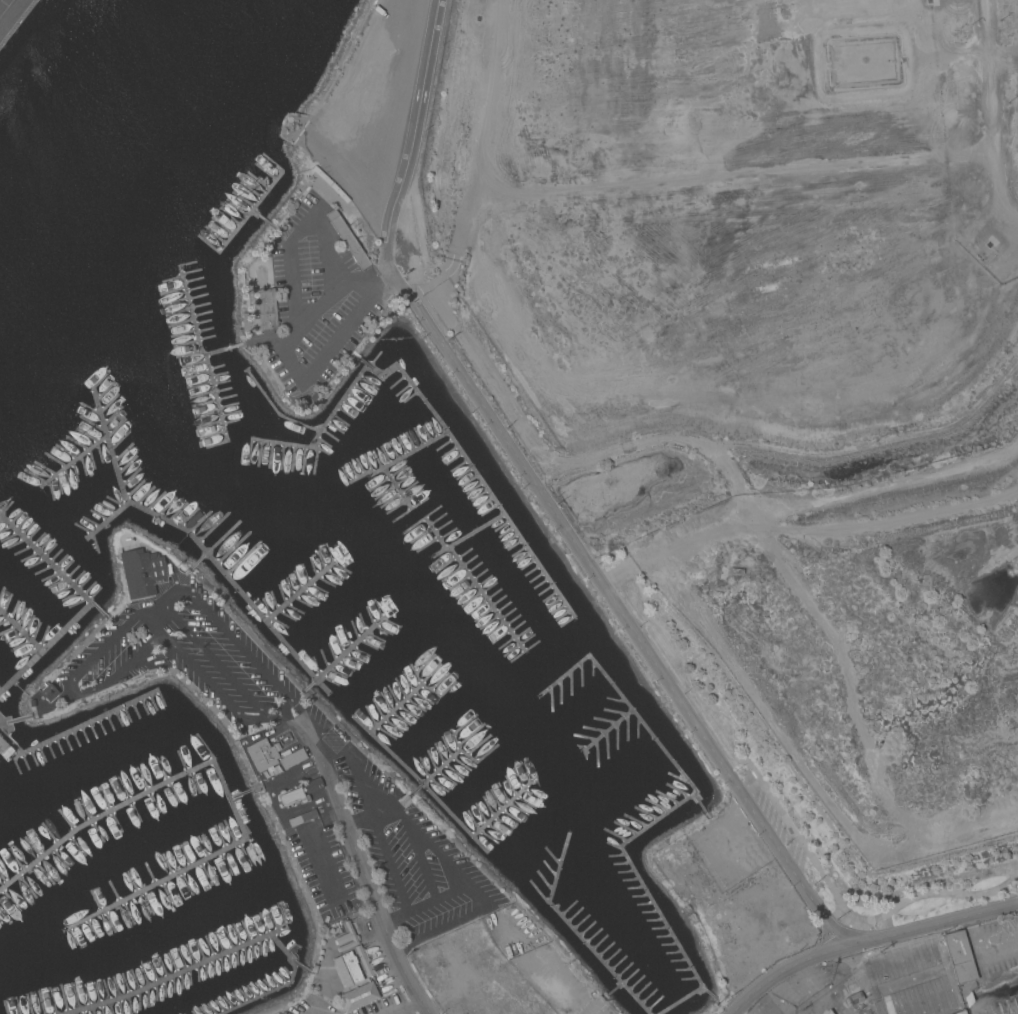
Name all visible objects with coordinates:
building: (308, 190)
pier: (269, 191)
building: (306, 200)
building: (301, 208)
building: (296, 214)
building: (290, 220)
pier: (243, 224)
road: (294, 237)
building: (347, 239)
building: (262, 313)
pier: (196, 328)
road: (287, 357)
pier: (217, 398)
pier: (276, 410)
pier: (323, 429)
pier: (400, 459)
pier: (74, 461)
pier: (474, 470)
pier: (397, 489)
road: (538, 495)
pier: (108, 520)
pier: (469, 536)
pier: (198, 542)
pier: (199, 561)
pier: (53, 564)
building: (142, 572)
pier: (476, 584)
pier: (301, 592)
pier: (47, 649)
road: (244, 653)
pier: (346, 654)
road: (224, 674)
road: (74, 675)
road: (200, 677)
building: (48, 692)
building: (30, 703)
building: (66, 723)
pier: (75, 729)
pier: (609, 730)
building: (4, 749)
building: (261, 755)
building: (291, 759)
road: (352, 763)
pier: (437, 771)
parking lot: (293, 772)
pier: (220, 775)
building: (312, 785)
pier: (423, 787)
pier: (240, 795)
building: (292, 797)
pier: (669, 812)
building: (301, 818)
road: (360, 867)
road: (453, 875)
road: (420, 901)
pier: (575, 932)
building: (346, 938)
road: (867, 943)
building: (959, 957)
building: (363, 961)
pier: (301, 966)
building: (347, 969)
pier: (179, 974)
pier: (284, 986)
pier: (615, 989)
pier: (709, 991)
building: (358, 997)
building: (855, 998)
building: (968, 1000)
road: (399, 1005)
parking lot: (312, 1012)
building: (828, 1012)
building: (960, 1012)
road: (306, 1013)
pier: (1015, 1013)

